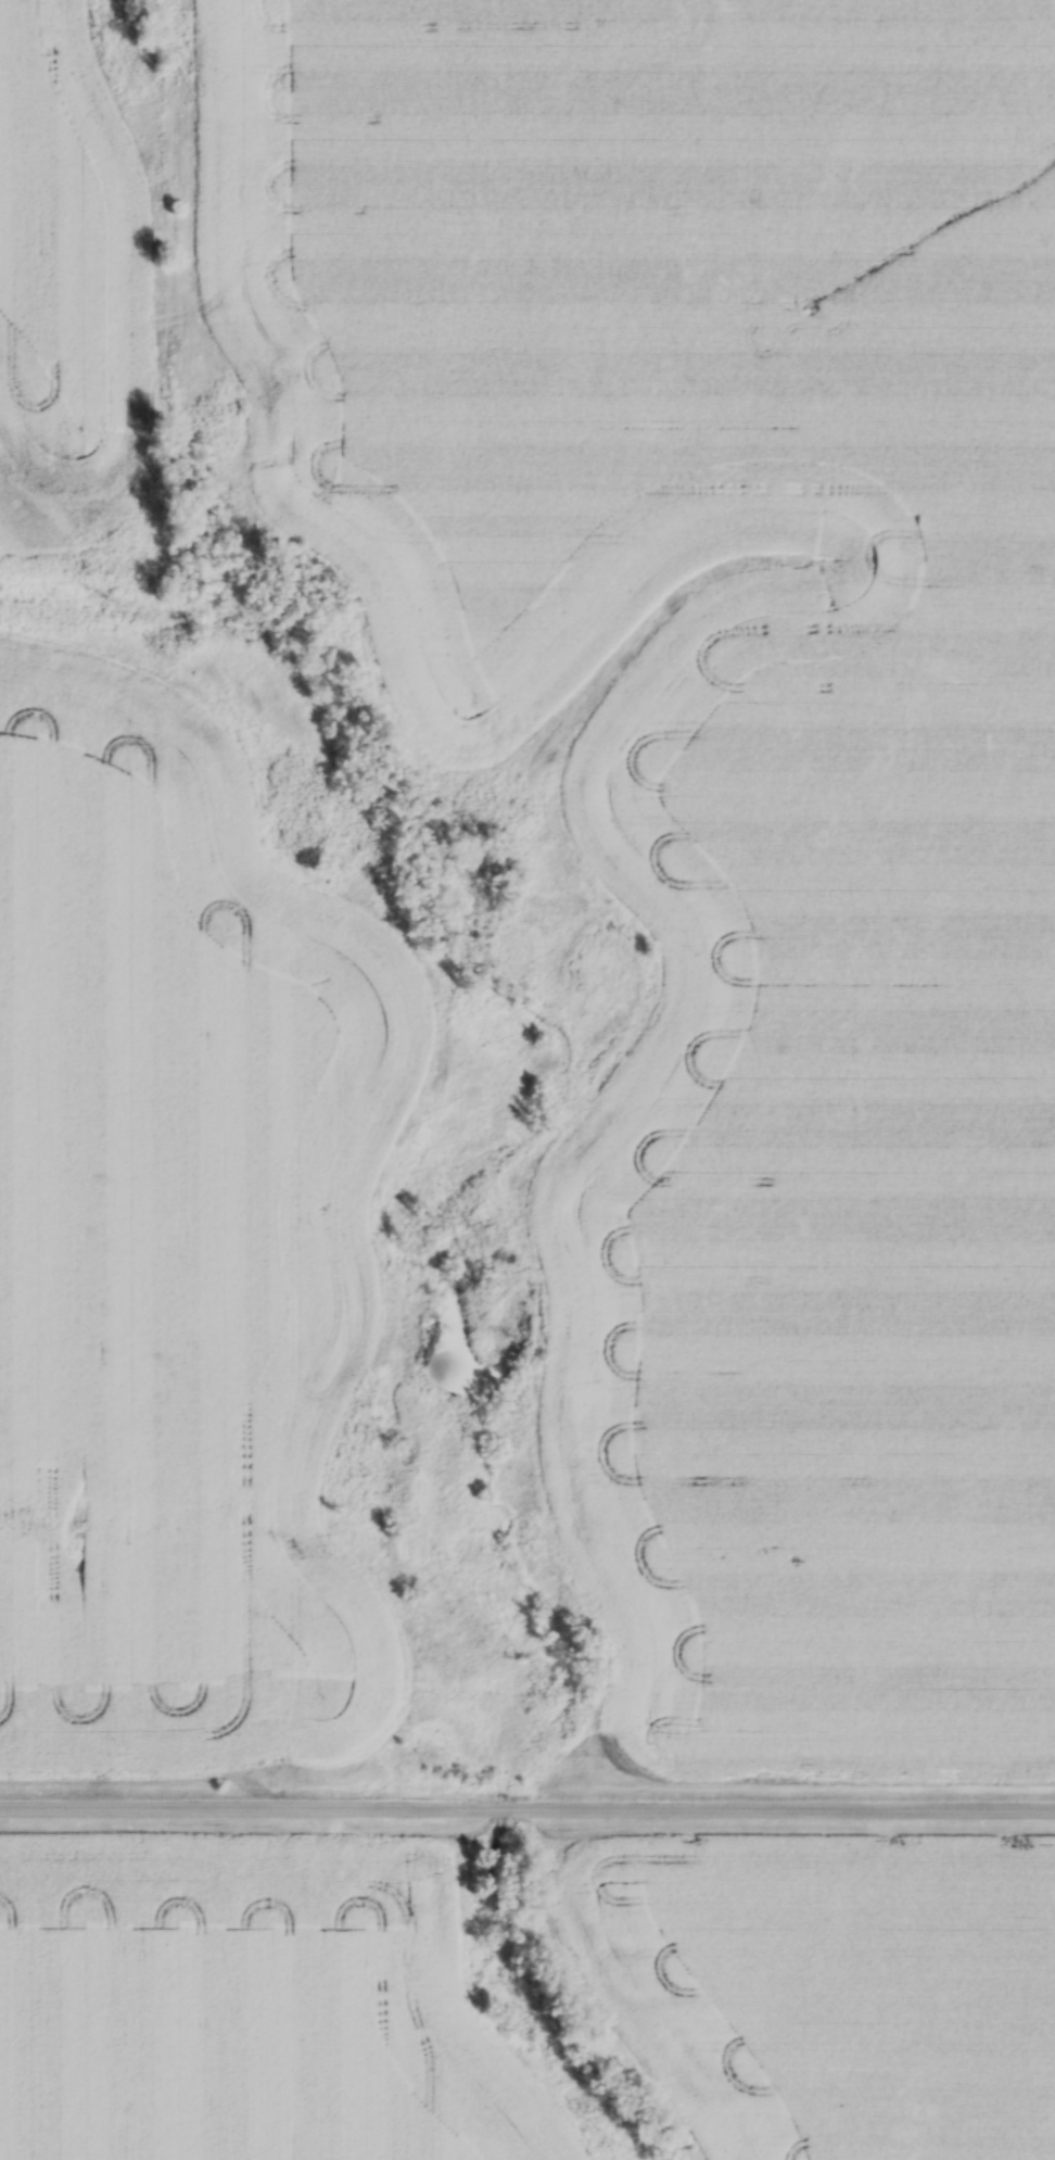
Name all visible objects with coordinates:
road: (526, 1804)
crop: (828, 1984)

